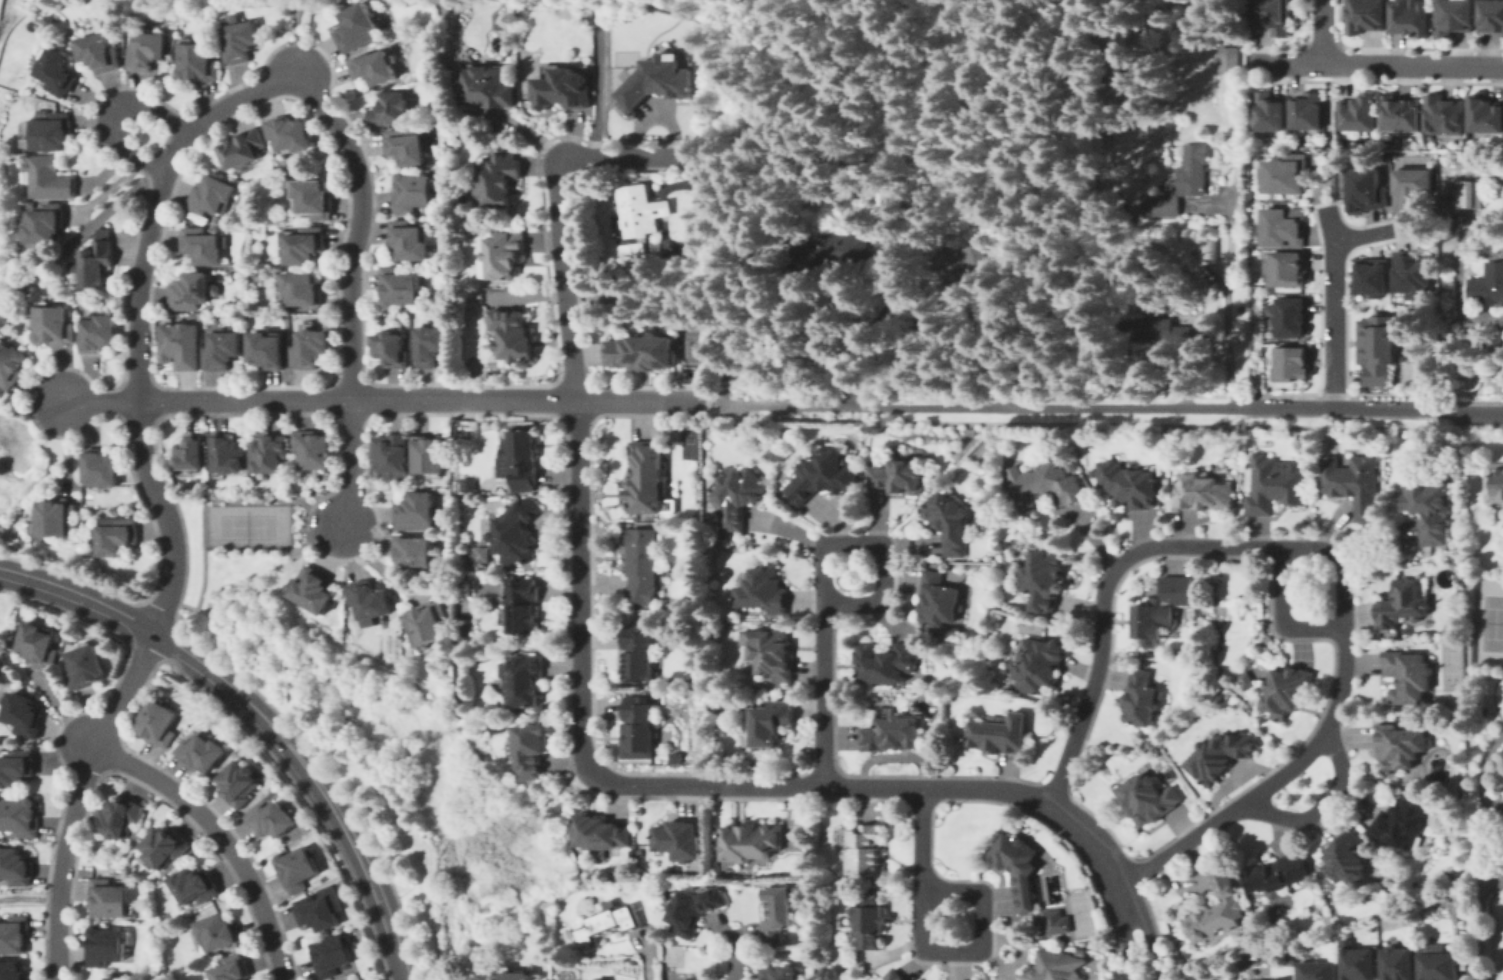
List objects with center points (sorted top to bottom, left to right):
park: (8, 12)
building: (1492, 15)
building: (1367, 16)
building: (1274, 17)
building: (1453, 17)
building: (1411, 19)
building: (359, 24)
road: (1320, 31)
building: (238, 41)
building: (147, 50)
building: (101, 52)
building: (197, 62)
building: (1231, 62)
road: (1375, 63)
building: (375, 68)
building: (58, 72)
building: (656, 84)
building: (487, 87)
building: (562, 91)
building: (391, 110)
road: (113, 111)
building: (1306, 112)
building: (1269, 114)
building: (1358, 114)
building: (1444, 114)
building: (1485, 114)
building: (1400, 116)
building: (52, 132)
building: (290, 133)
building: (409, 146)
building: (241, 149)
road: (631, 153)
building: (1283, 177)
building: (48, 178)
building: (499, 178)
building: (1180, 183)
building: (1413, 189)
building: (1365, 191)
building: (418, 192)
building: (1469, 194)
building: (210, 197)
building: (316, 198)
building: (641, 213)
building: (47, 225)
road: (358, 227)
building: (1283, 228)
road: (77, 233)
road: (1358, 235)
building: (411, 240)
building: (308, 243)
building: (203, 245)
building: (831, 248)
building: (632, 250)
building: (1207, 251)
building: (505, 253)
building: (99, 260)
building: (964, 267)
building: (1287, 270)
building: (1411, 274)
road: (562, 277)
building: (1372, 278)
building: (403, 286)
building: (1488, 287)
building: (302, 289)
building: (190, 292)
road: (1331, 307)
road: (1226, 309)
building: (1292, 319)
building: (927, 321)
building: (53, 323)
building: (513, 330)
building: (100, 333)
building: (1170, 334)
building: (183, 345)
building: (433, 346)
park: (693, 346)
building: (1376, 346)
building: (271, 348)
building: (313, 348)
building: (225, 351)
building: (394, 351)
building: (641, 351)
building: (11, 364)
building: (1292, 365)
road: (381, 396)
road: (705, 402)
road: (714, 402)
road: (1111, 405)
building: (314, 449)
building: (186, 452)
building: (268, 454)
building: (226, 455)
building: (392, 455)
building: (430, 456)
building: (523, 461)
road: (353, 465)
building: (102, 469)
building: (825, 475)
building: (897, 476)
building: (645, 478)
building: (1494, 482)
building: (1127, 484)
building: (1273, 484)
building: (1044, 485)
building: (1353, 485)
building: (1202, 491)
road: (156, 496)
building: (742, 499)
building: (1427, 508)
building: (417, 512)
building: (56, 518)
building: (951, 522)
park: (244, 525)
building: (514, 532)
building: (116, 534)
road: (880, 545)
building: (413, 552)
building: (482, 554)
road: (1342, 562)
building: (641, 565)
building: (1044, 580)
building: (310, 587)
building: (766, 590)
building: (943, 598)
building: (373, 603)
road: (1103, 603)
building: (1403, 604)
building: (523, 606)
building: (1164, 608)
road: (1282, 615)
park: (1491, 622)
building: (428, 623)
building: (39, 644)
building: (638, 654)
building: (771, 654)
building: (886, 661)
building: (1043, 662)
building: (85, 665)
park: (1449, 666)
building: (1407, 675)
building: (1246, 678)
building: (524, 679)
building: (1286, 691)
road: (824, 694)
park: (314, 699)
building: (1143, 699)
road: (261, 714)
building: (24, 715)
building: (770, 720)
building: (1474, 722)
building: (161, 723)
building: (637, 730)
building: (891, 731)
building: (996, 738)
building: (1400, 746)
building: (530, 749)
building: (202, 752)
building: (1217, 757)
building: (17, 770)
road: (1267, 781)
building: (240, 783)
road: (736, 785)
building: (1502, 790)
building: (1146, 800)
road: (1321, 803)
building: (123, 815)
building: (21, 816)
building: (274, 819)
building: (1400, 825)
building: (598, 832)
road: (221, 838)
road: (922, 838)
building: (680, 839)
building: (751, 842)
building: (167, 845)
building: (866, 849)
road: (1480, 853)
building: (1346, 857)
building: (302, 865)
building: (1013, 866)
building: (18, 867)
building: (1279, 875)
building: (198, 884)
road: (29, 897)
building: (110, 899)
building: (1216, 905)
building: (695, 910)
building: (319, 911)
park: (1079, 913)
building: (775, 915)
road: (922, 916)
building: (866, 918)
building: (1054, 920)
road: (982, 923)
building: (608, 924)
building: (221, 931)
building: (1464, 934)
building: (15, 935)
building: (106, 947)
building: (332, 952)
road: (735, 959)
building: (1360, 963)
building: (1400, 964)
road: (643, 965)
building: (1441, 966)
building: (234, 967)
building: (1055, 968)
building: (14, 970)
building: (1319, 971)
building: (781, 974)
building: (511, 975)
building: (894, 976)
building: (352, 978)
building: (598, 978)
building: (119, 979)
building: (691, 979)
building: (905, 979)

